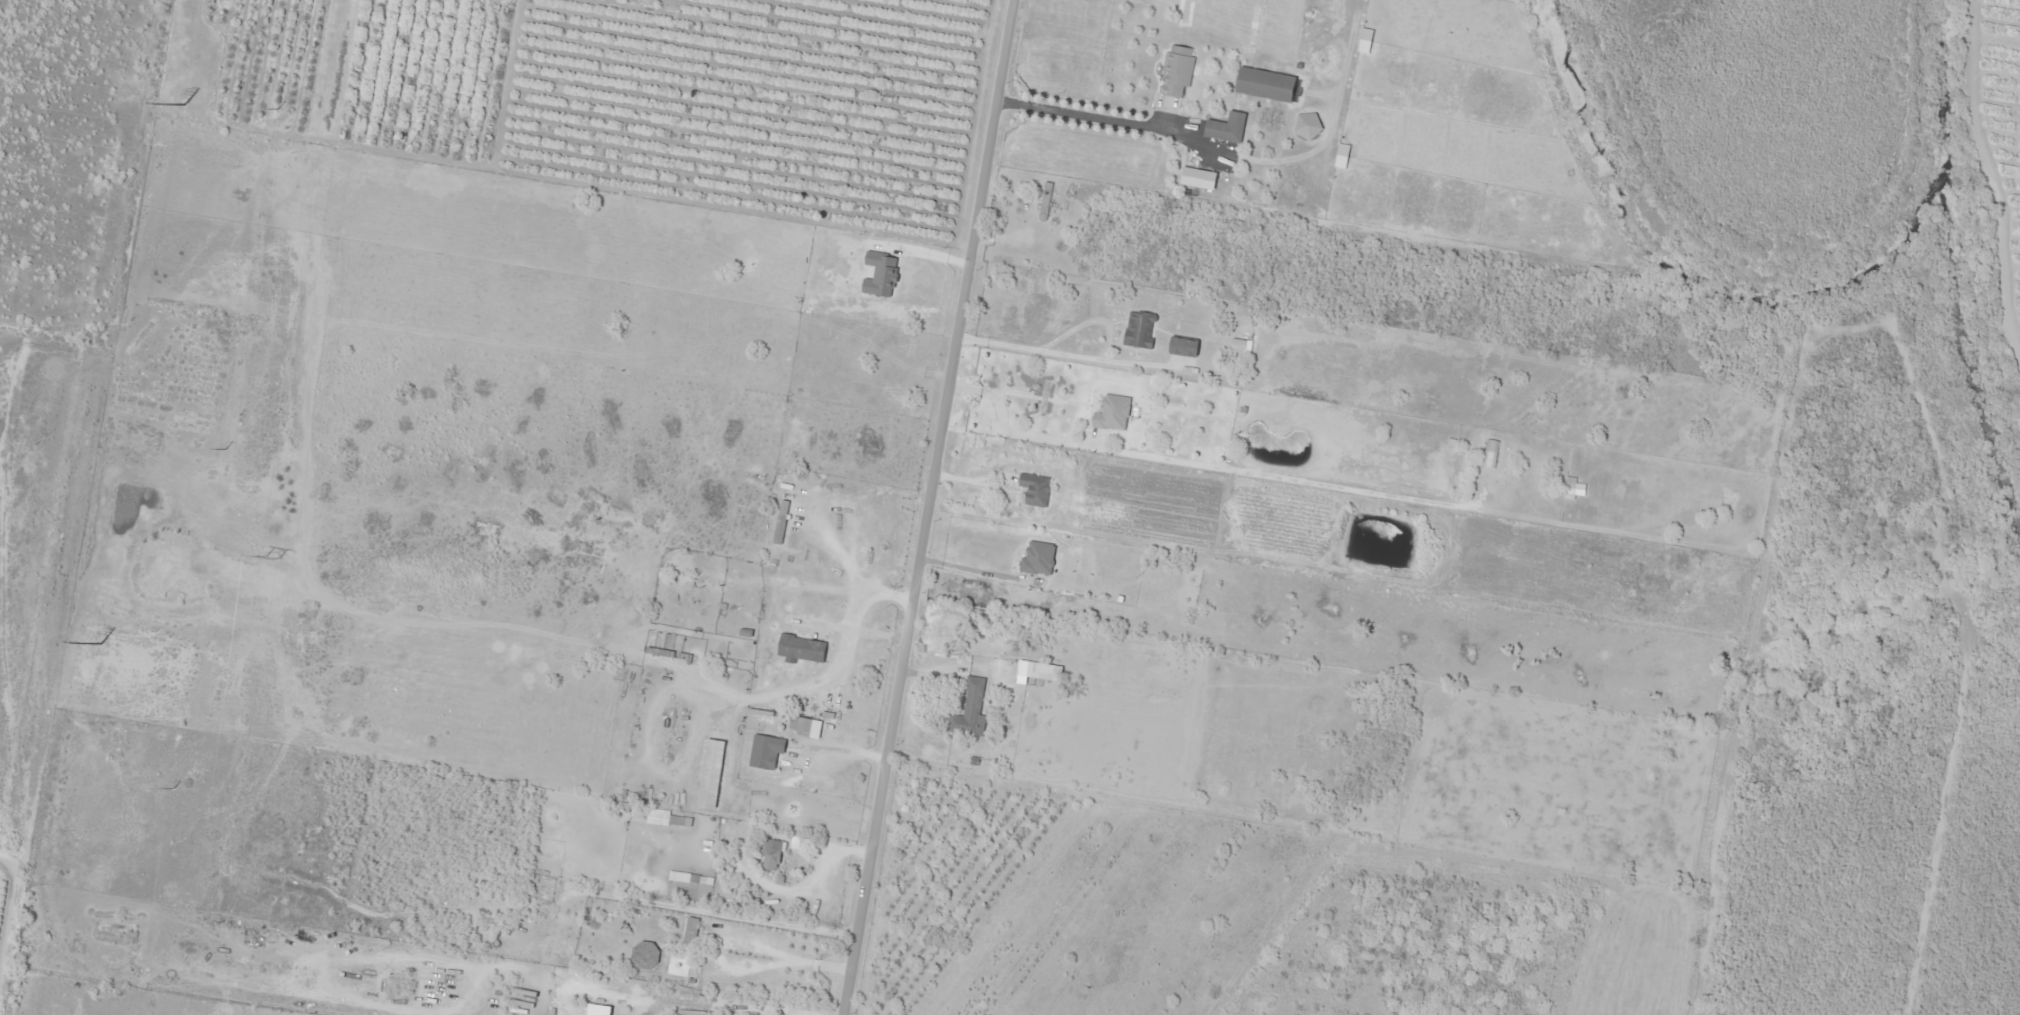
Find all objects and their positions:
building: (1177, 71)
building: (1266, 84)
power tower: (185, 105)
building: (1227, 127)
building: (1045, 201)
building: (1139, 330)
building: (1112, 413)
building: (797, 432)
building: (1490, 454)
building: (1569, 488)
building: (1035, 489)
road: (930, 507)
building: (781, 522)
power tower: (270, 555)
building: (1038, 558)
power tower: (101, 644)
building: (801, 648)
building: (1043, 671)
building: (970, 710)
building: (765, 751)
building: (711, 774)
building: (662, 817)
building: (771, 854)
building: (716, 978)

